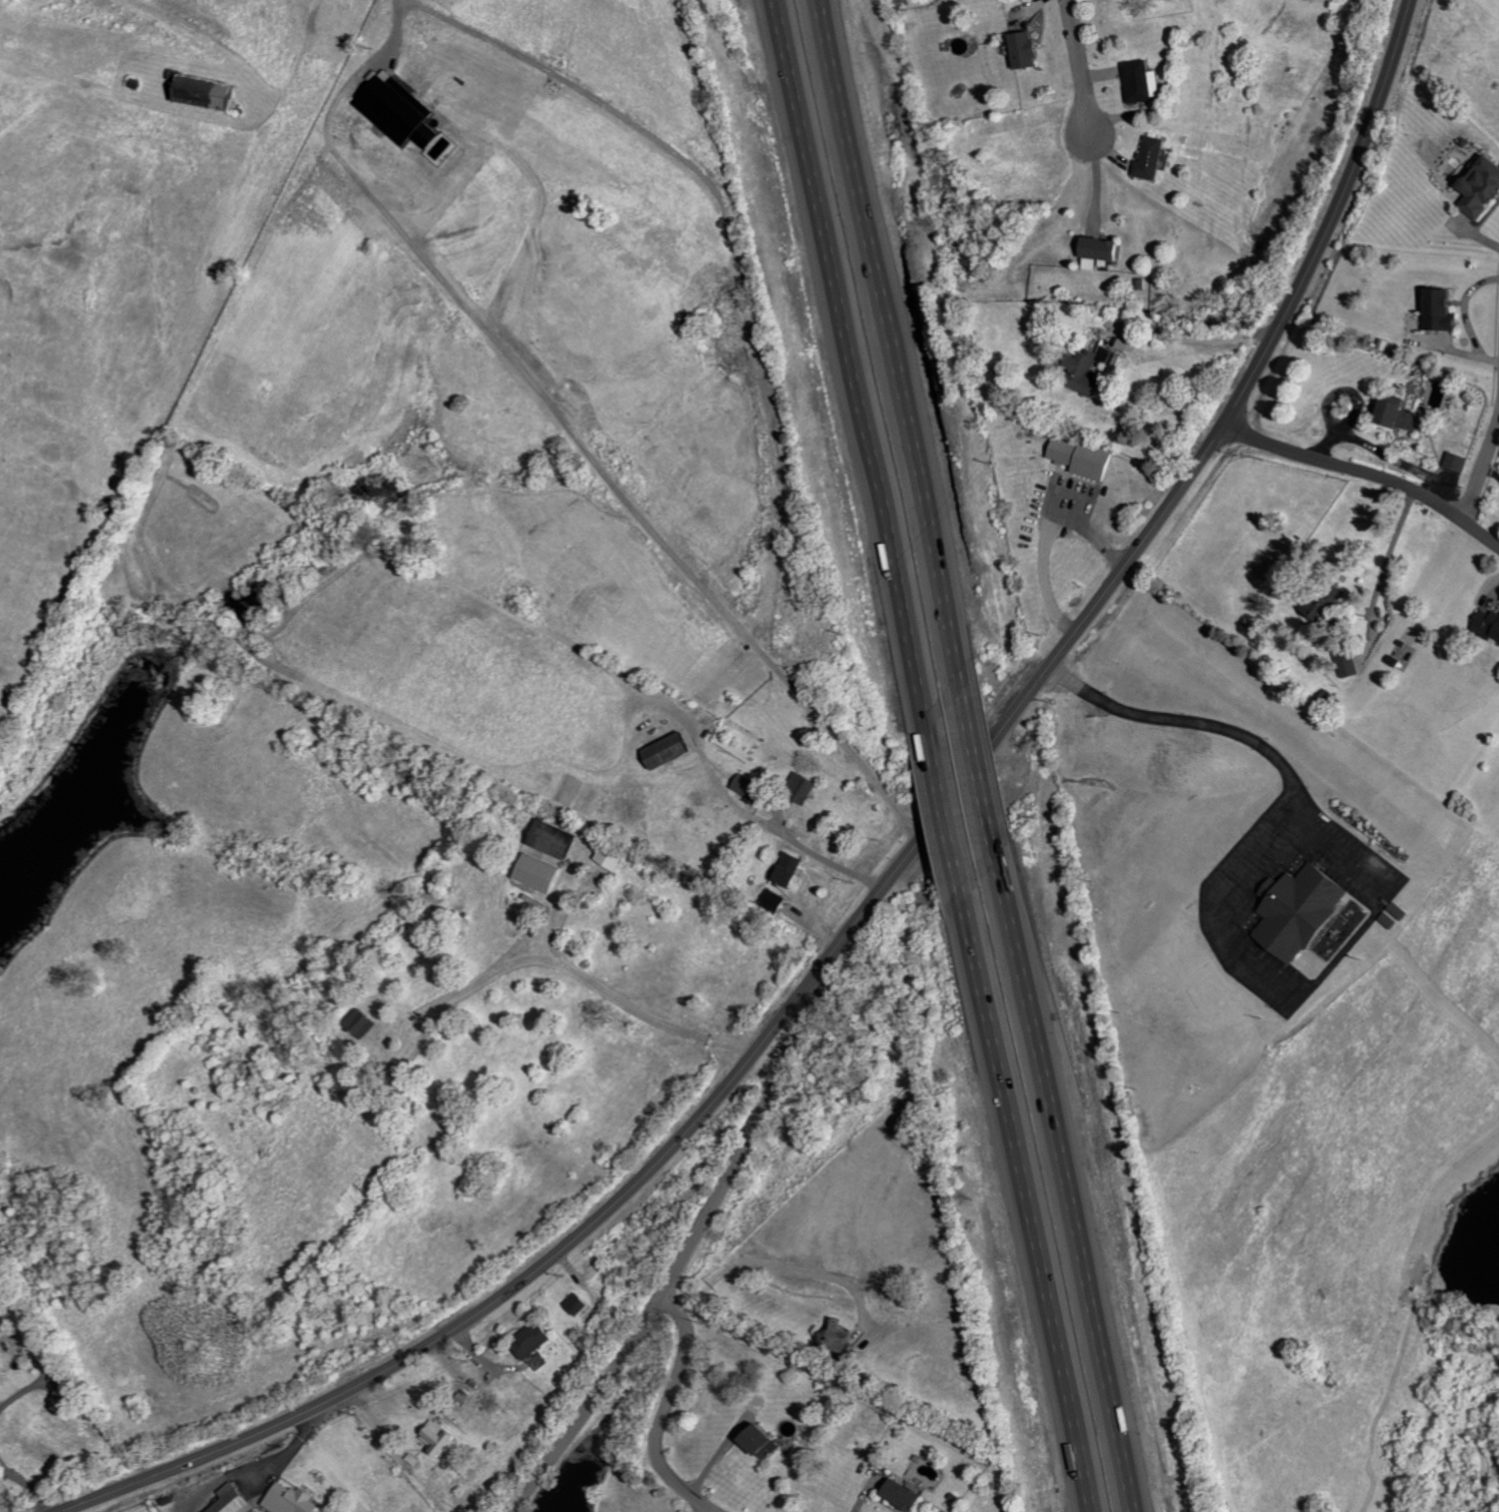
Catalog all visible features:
building: (1029, 50)
road: (1079, 63)
building: (1146, 81)
building: (212, 93)
building: (402, 111)
building: (1156, 157)
building: (1484, 189)
building: (1104, 253)
building: (1445, 310)
road: (1196, 344)
road: (891, 345)
road: (851, 362)
building: (1095, 370)
building: (1403, 415)
building: (1088, 459)
building: (1460, 462)
road: (1481, 470)
road: (1368, 473)
road: (1047, 538)
road: (1375, 603)
building: (1321, 606)
building: (1490, 624)
building: (1349, 662)
building: (673, 749)
road: (979, 767)
road: (1292, 779)
building: (807, 786)
building: (753, 789)
road: (945, 803)
building: (559, 839)
road: (824, 855)
building: (615, 857)
road: (1347, 857)
building: (793, 869)
building: (544, 873)
road: (881, 892)
building: (777, 901)
building: (1303, 910)
building: (365, 1023)
road: (1064, 1177)
road: (1026, 1196)
road: (687, 1255)
road: (780, 1264)
building: (585, 1304)
building: (835, 1335)
building: (538, 1340)
road: (23, 1390)
road: (666, 1410)
building: (444, 1437)
building: (766, 1442)
road: (29, 1482)
building: (907, 1495)
building: (236, 1500)
building: (295, 1500)

